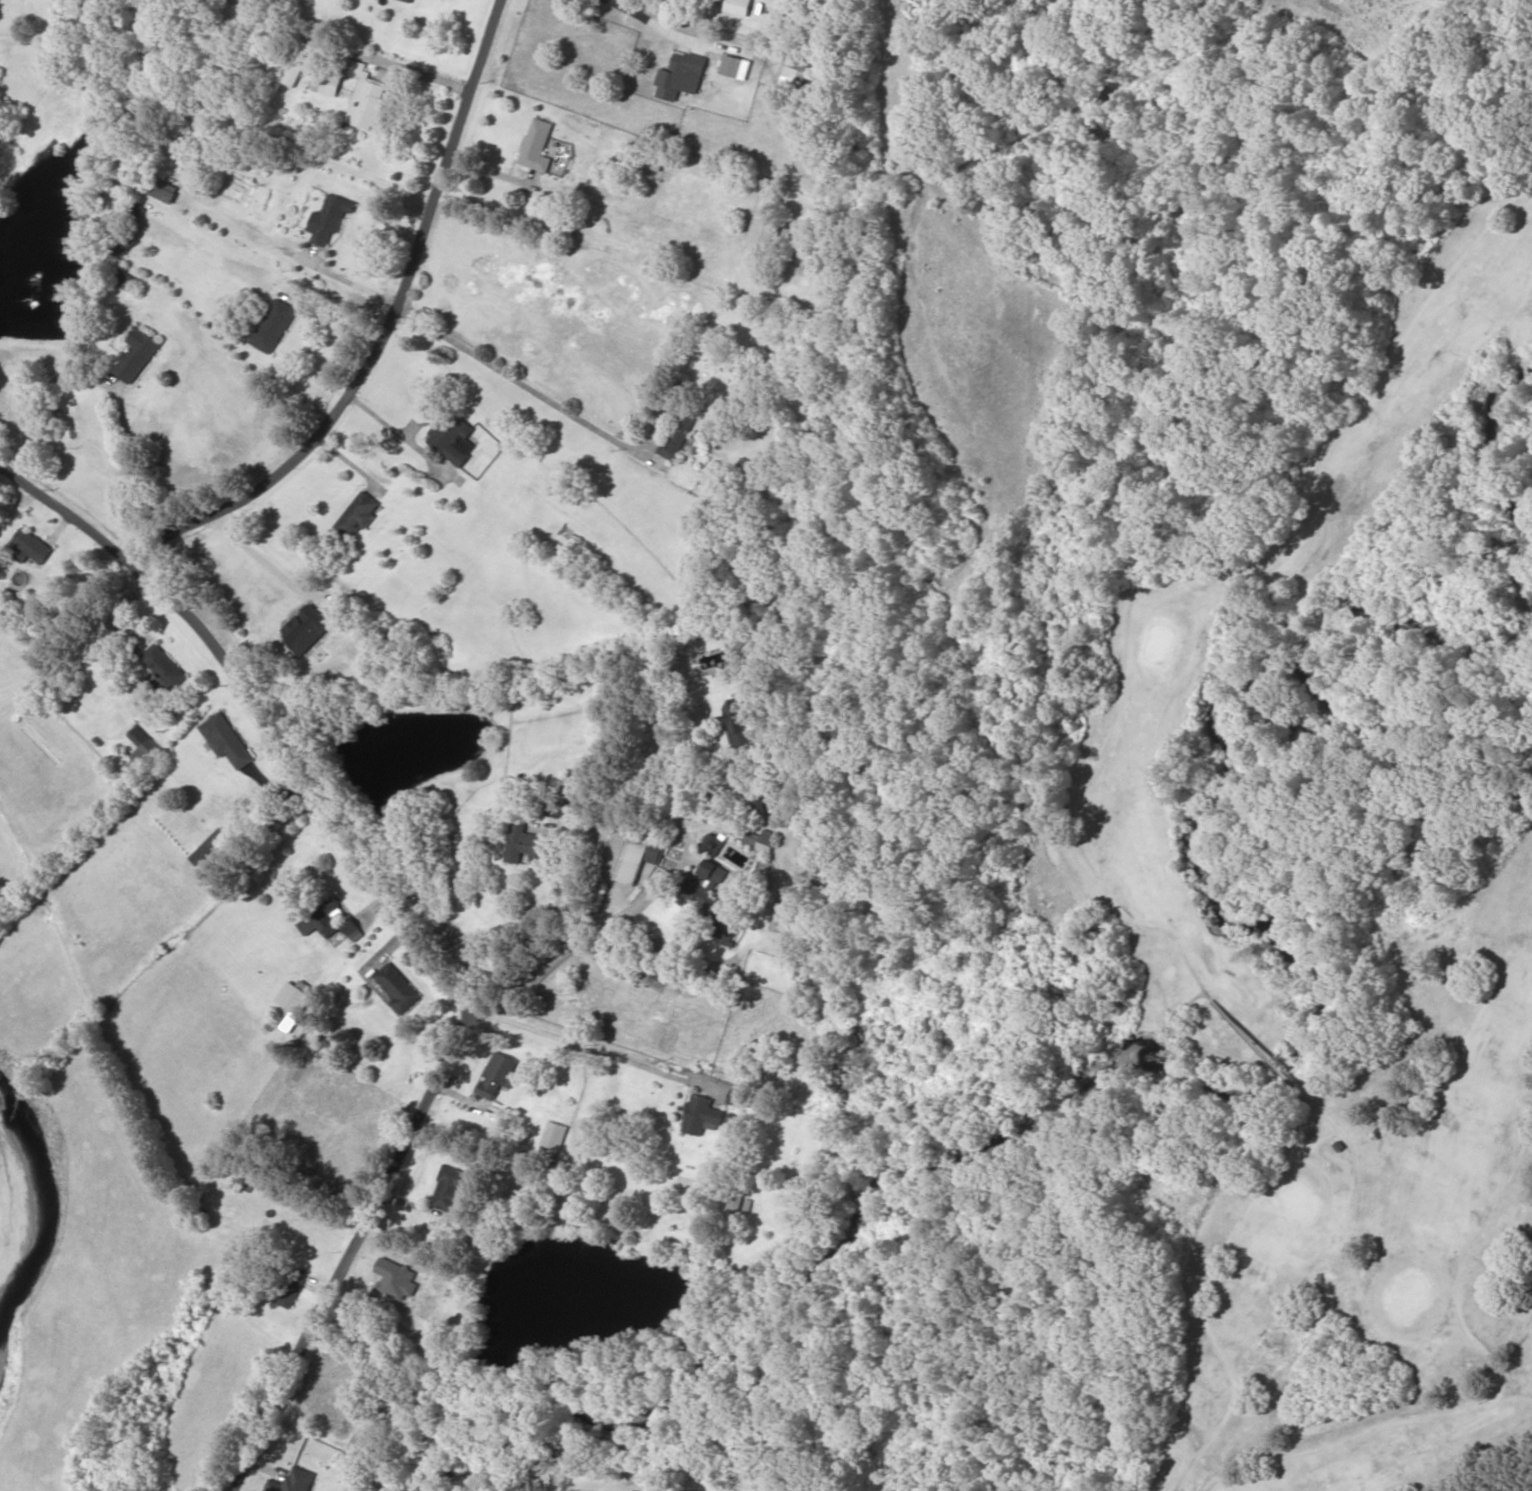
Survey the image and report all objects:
building: (410, 0)
building: (231, 11)
building: (728, 61)
building: (802, 69)
building: (294, 70)
building: (683, 75)
building: (328, 83)
building: (364, 95)
building: (179, 135)
road: (1164, 143)
building: (537, 145)
building: (652, 157)
building: (159, 188)
building: (135, 210)
building: (330, 218)
building: (764, 230)
building: (126, 245)
building: (127, 279)
road: (387, 318)
building: (274, 326)
building: (138, 355)
building: (678, 430)
building: (452, 438)
building: (358, 515)
road: (73, 524)
building: (163, 666)
building: (740, 723)
building: (226, 740)
building: (141, 747)
building: (765, 840)
building: (528, 843)
building: (714, 845)
building: (207, 847)
building: (633, 855)
building: (712, 896)
road: (632, 903)
road: (722, 911)
building: (325, 919)
park: (1275, 928)
building: (397, 988)
building: (292, 1002)
road: (448, 1005)
building: (499, 1076)
building: (702, 1115)
building: (554, 1136)
building: (690, 1185)
building: (453, 1190)
building: (287, 1288)
building: (295, 1481)

